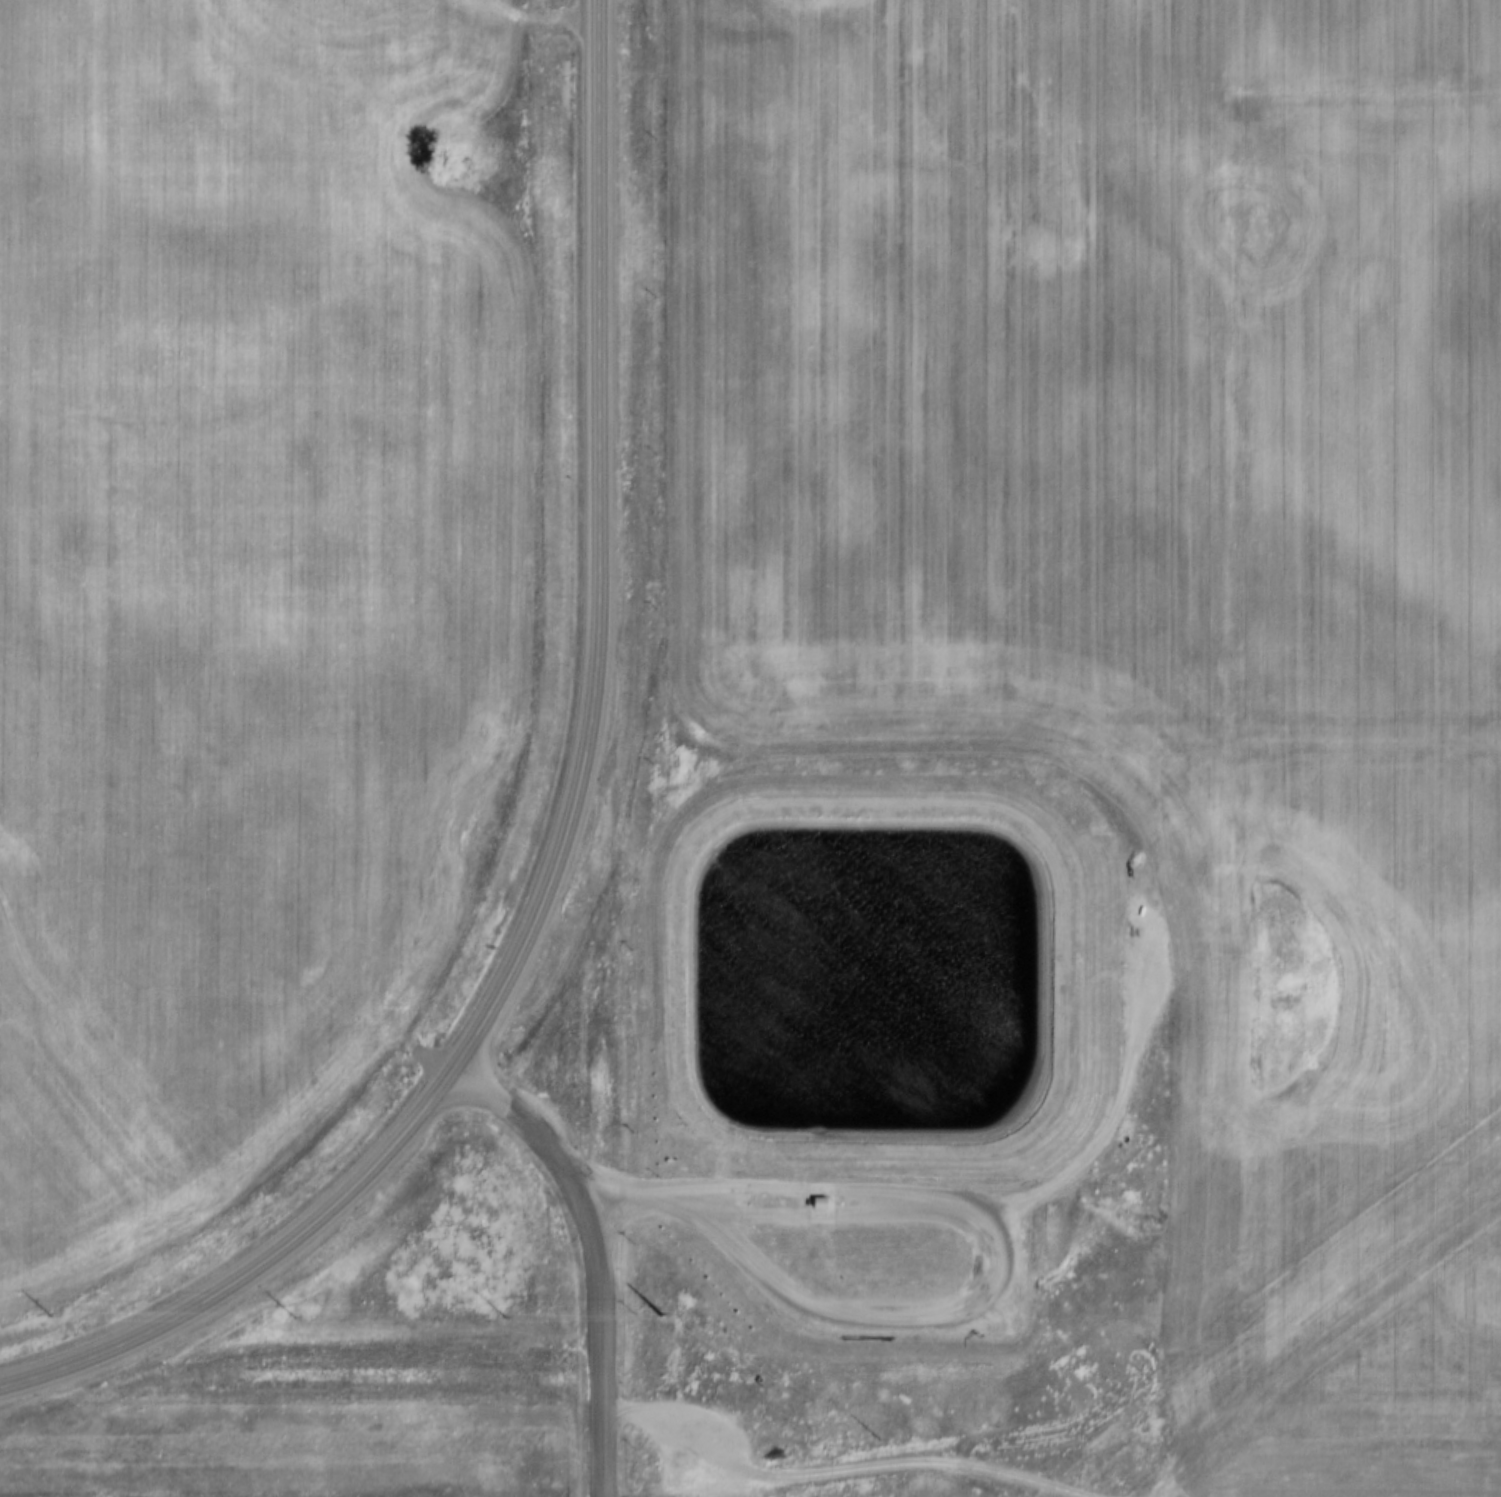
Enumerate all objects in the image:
road: (596, 392)
road: (392, 1138)
building: (815, 1202)
road: (996, 1238)
road: (593, 1252)
road: (32, 1374)
road: (848, 1451)

